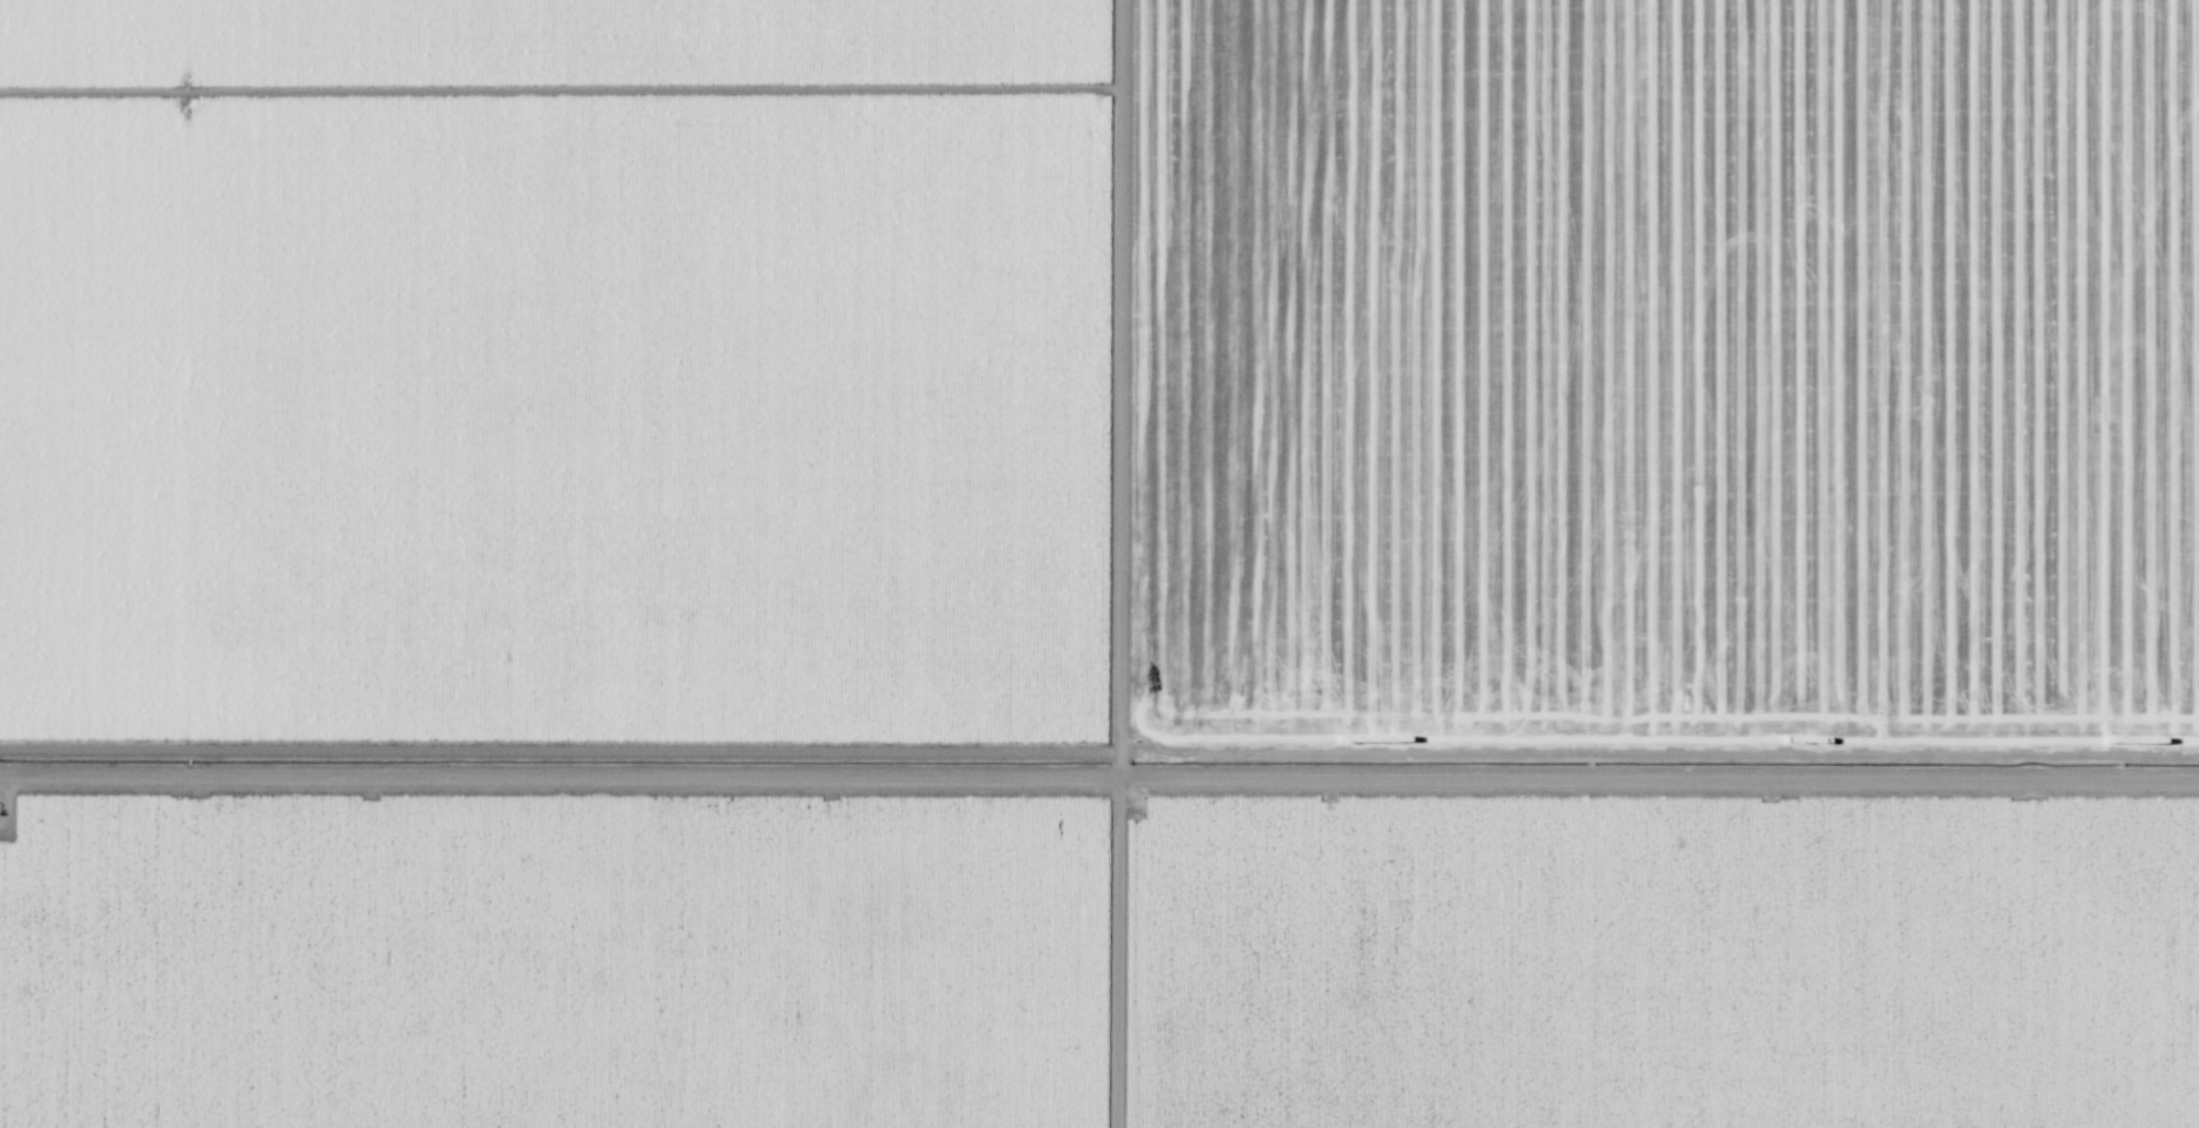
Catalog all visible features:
road: (1099, 791)

